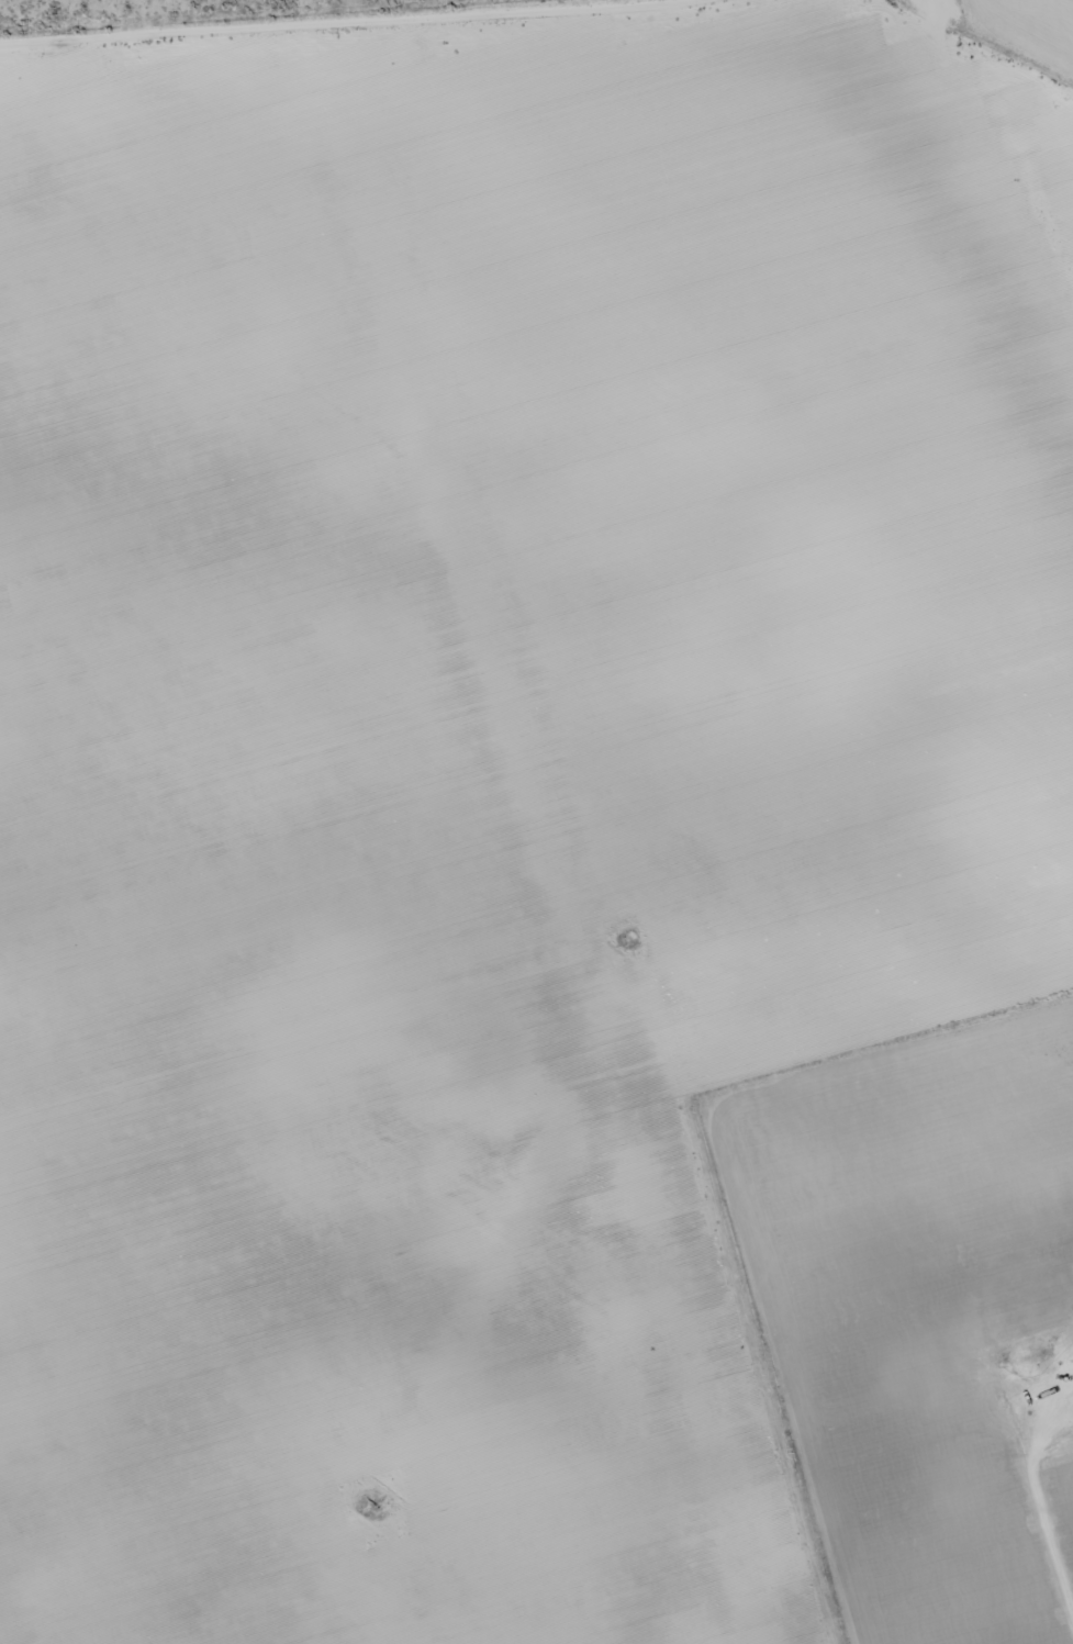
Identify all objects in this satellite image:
river: (946, 166)

